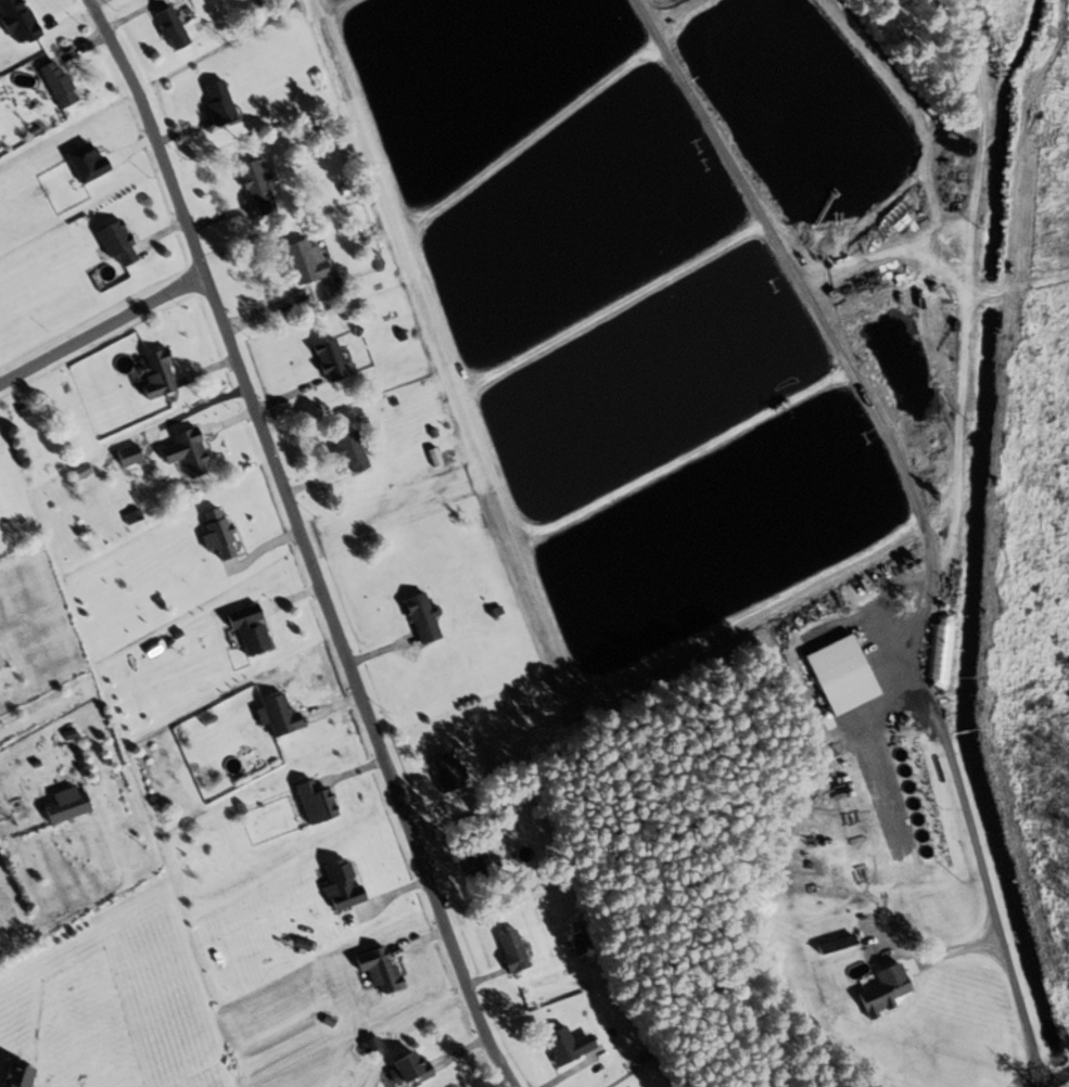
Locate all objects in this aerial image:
road: (92, 1)
road: (109, 26)
building: (174, 28)
building: (60, 84)
building: (220, 102)
road: (183, 132)
building: (259, 187)
road: (215, 220)
road: (162, 232)
building: (119, 243)
building: (307, 263)
building: (334, 289)
road: (255, 312)
road: (102, 325)
building: (332, 360)
road: (208, 369)
building: (161, 375)
road: (263, 407)
road: (201, 408)
building: (190, 452)
building: (353, 452)
building: (129, 456)
road: (316, 482)
building: (220, 534)
road: (303, 542)
road: (260, 547)
road: (293, 597)
building: (424, 618)
building: (252, 629)
road: (378, 652)
building: (1, 662)
building: (843, 675)
road: (334, 704)
building: (282, 716)
road: (352, 770)
building: (447, 772)
road: (417, 796)
building: (318, 802)
building: (68, 805)
road: (442, 858)
building: (475, 864)
building: (344, 884)
road: (983, 888)
road: (382, 899)
road: (98, 904)
building: (580, 937)
road: (418, 941)
building: (838, 945)
road: (956, 950)
building: (514, 951)
building: (381, 969)
road: (481, 979)
building: (886, 990)
road: (424, 1016)
building: (569, 1046)
road: (460, 1049)
building: (413, 1067)
road: (571, 1070)
building: (22, 1074)
road: (1062, 1083)

